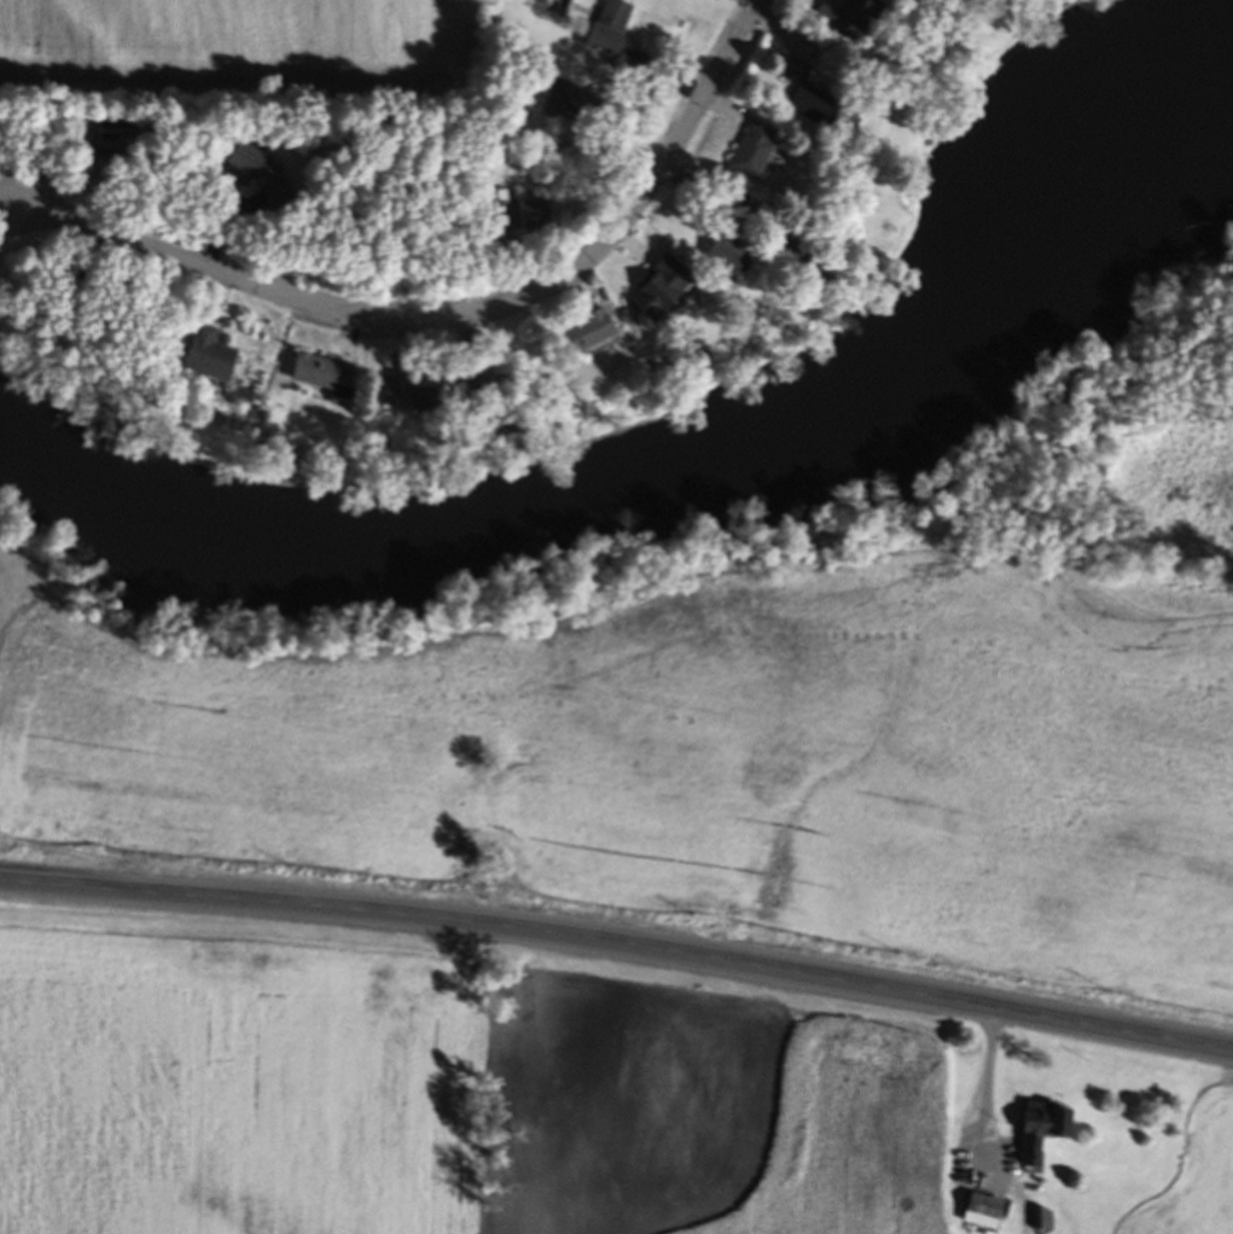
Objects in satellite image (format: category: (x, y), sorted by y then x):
building: (847, 16)
building: (610, 30)
building: (810, 99)
building: (554, 109)
building: (116, 140)
building: (754, 153)
building: (262, 177)
building: (525, 216)
building: (732, 254)
building: (661, 291)
road: (460, 324)
building: (587, 334)
building: (209, 357)
building: (325, 377)
building: (411, 395)
river: (671, 471)
road: (618, 944)
road: (982, 1088)
building: (1042, 1134)
building: (983, 1215)

